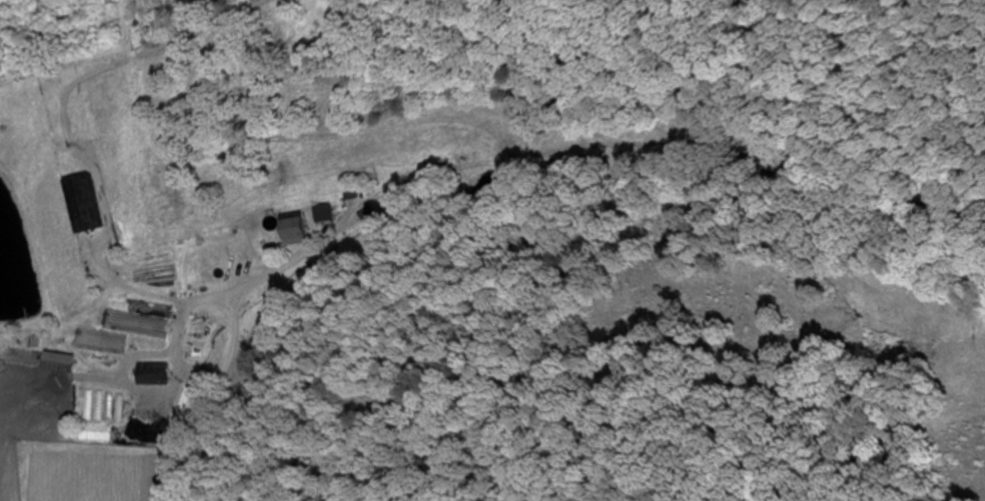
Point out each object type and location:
building: (83, 205)
building: (324, 214)
building: (371, 215)
building: (291, 231)
building: (149, 311)
building: (80, 331)
building: (85, 355)
building: (149, 376)
road: (212, 400)

